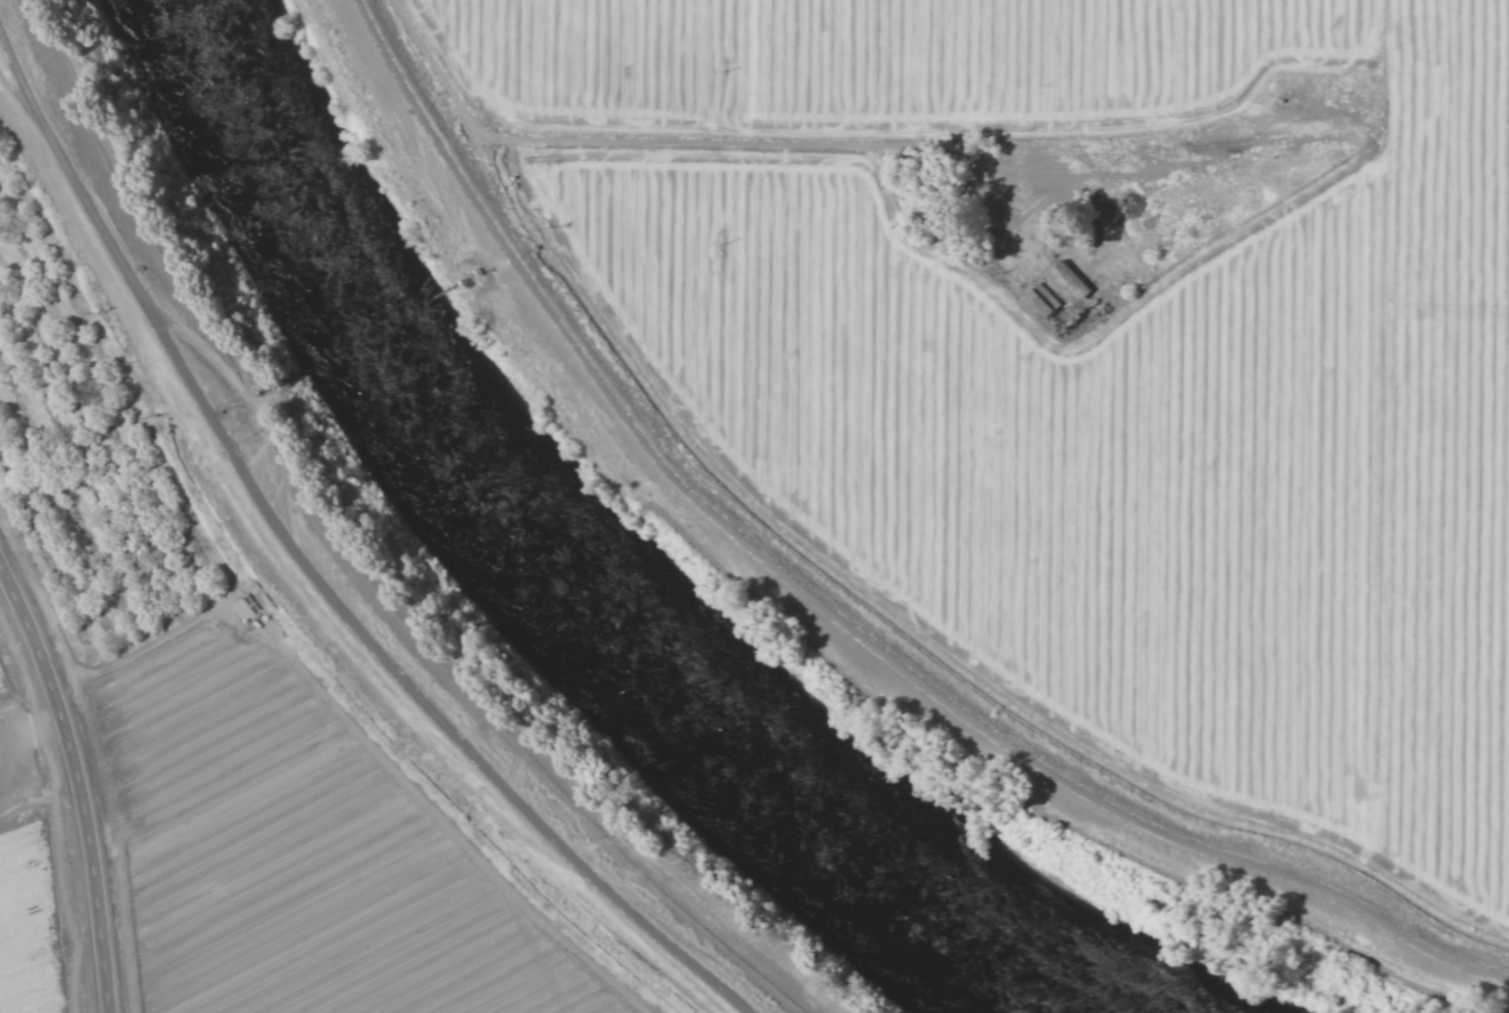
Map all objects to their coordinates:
road: (1403, 138)
building: (1044, 299)
road: (311, 568)
river: (576, 578)
road: (831, 611)
road: (76, 785)

